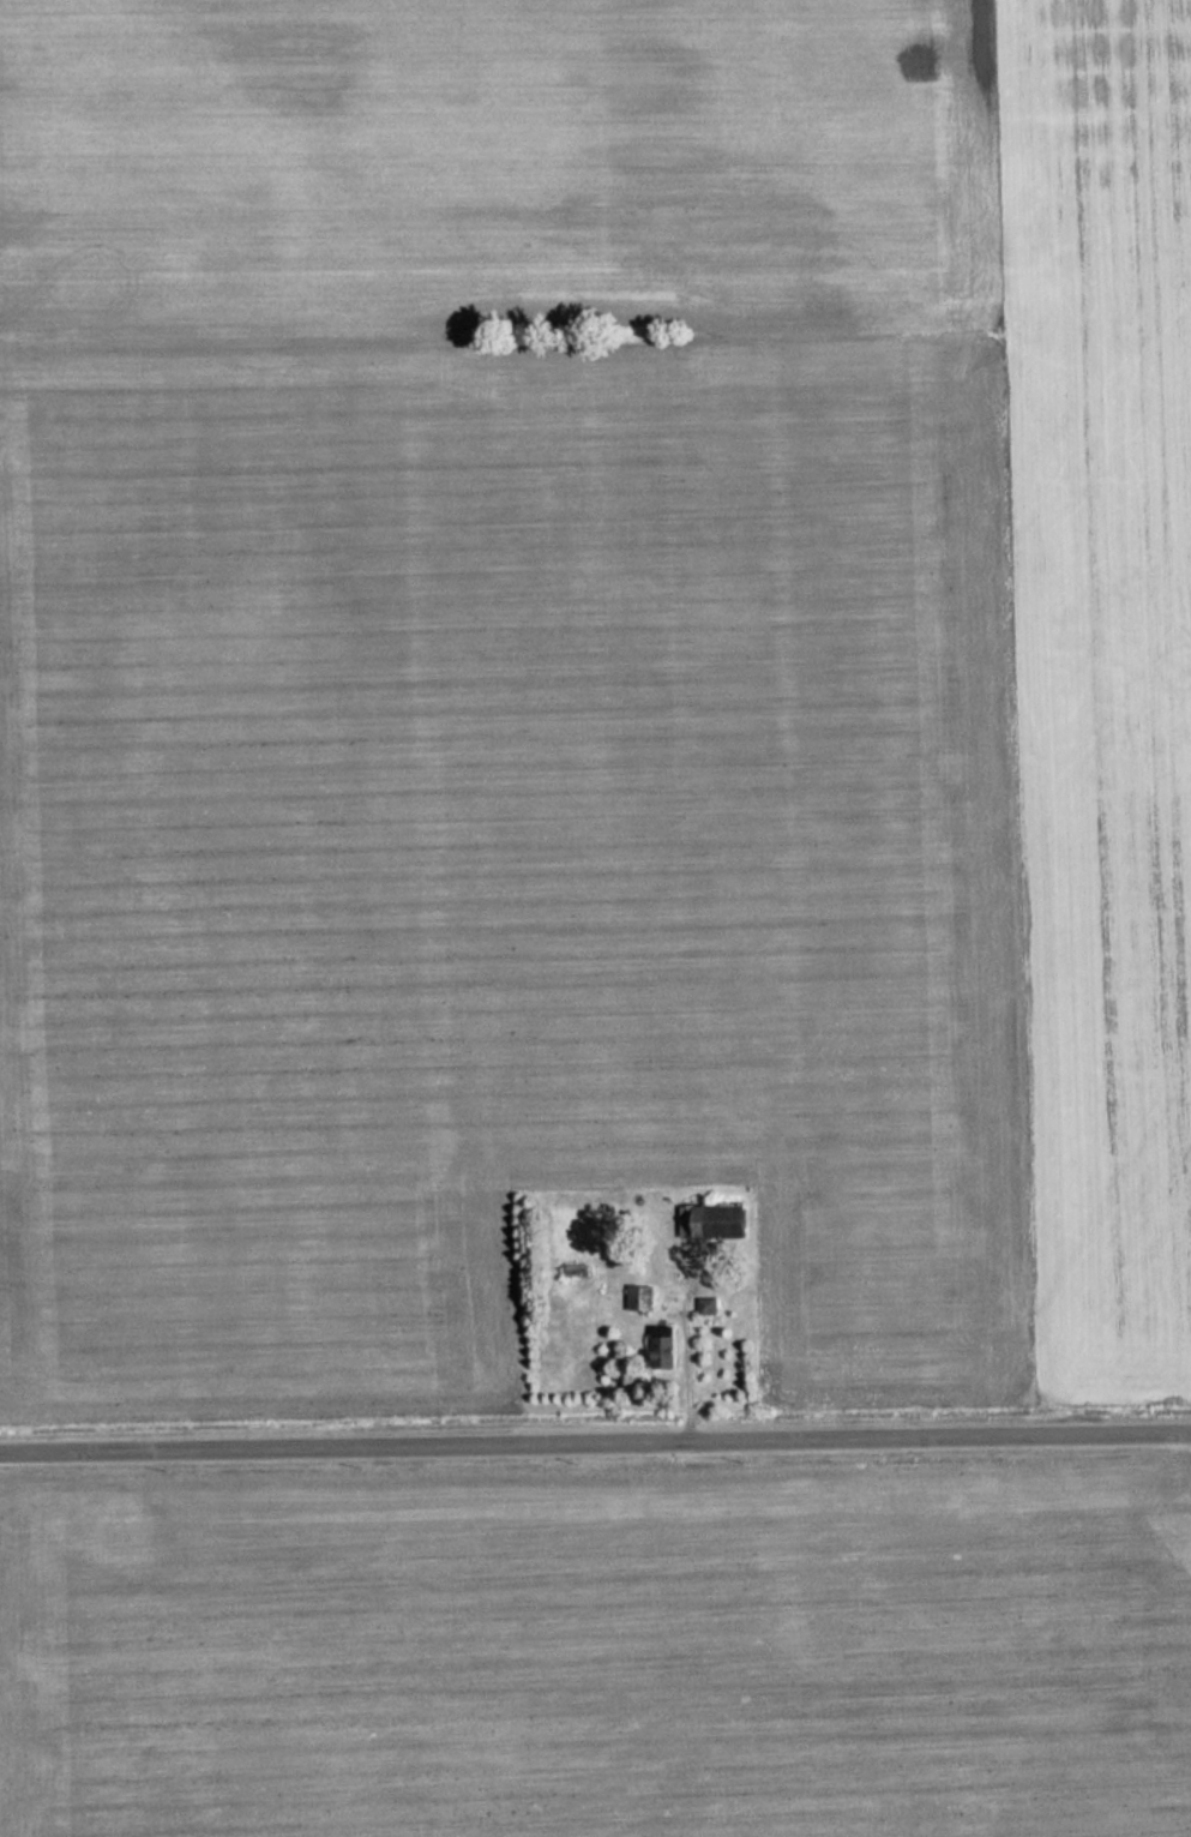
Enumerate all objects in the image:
crop: (479, 152)
crop: (1099, 677)
crop: (499, 856)
road: (595, 1437)
crop: (598, 1653)

